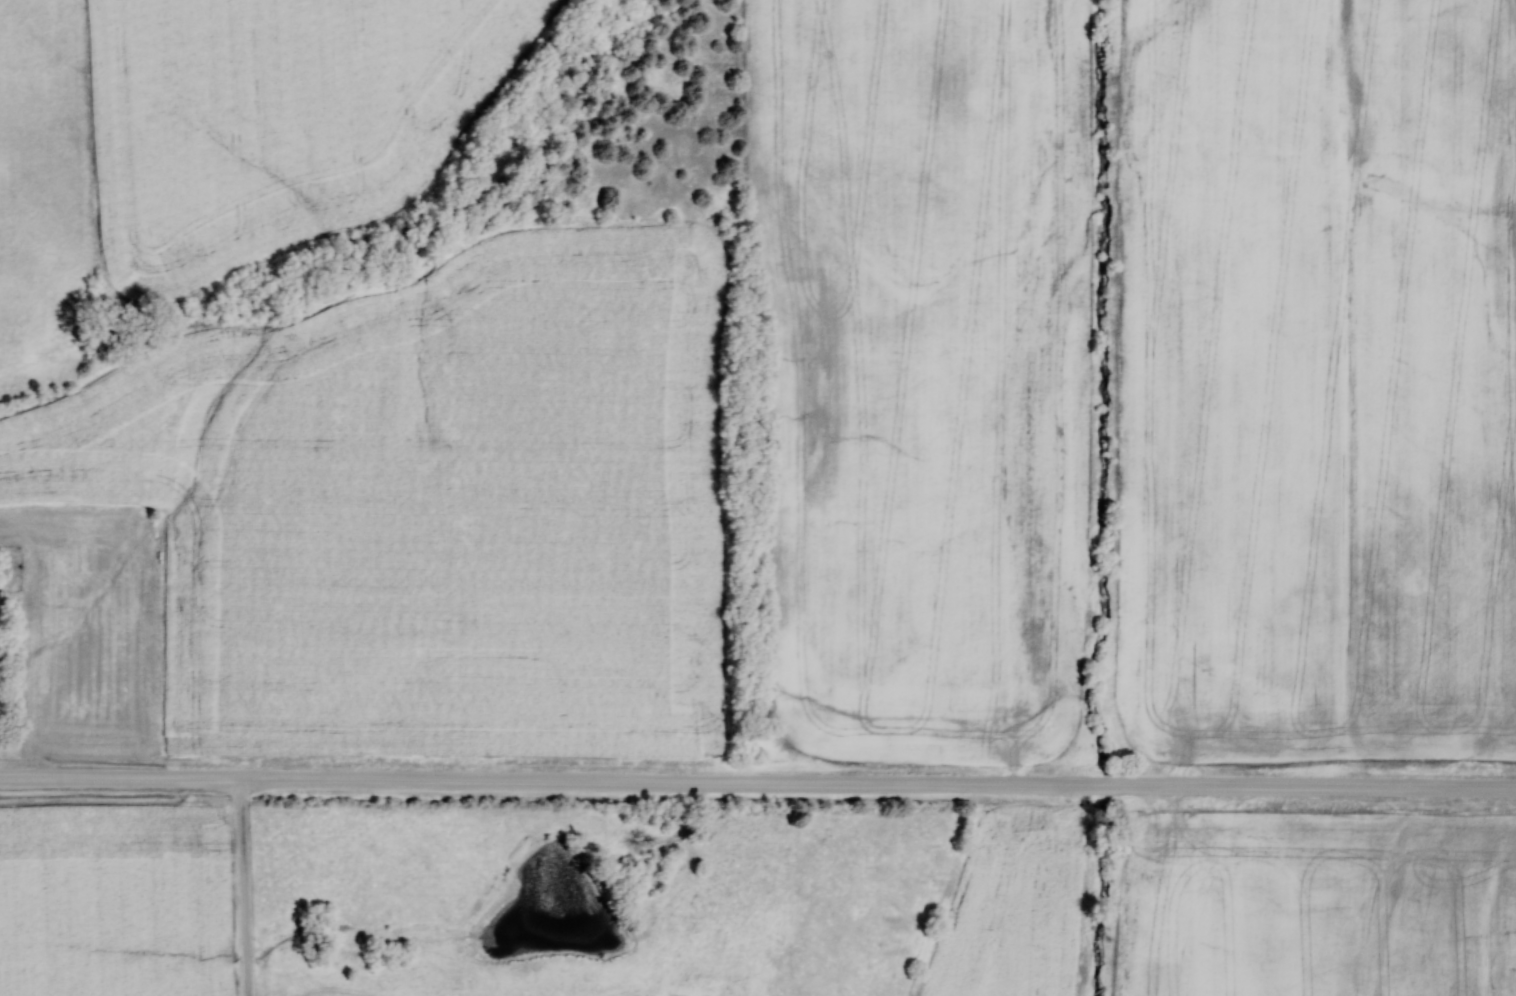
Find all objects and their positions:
road: (757, 765)

